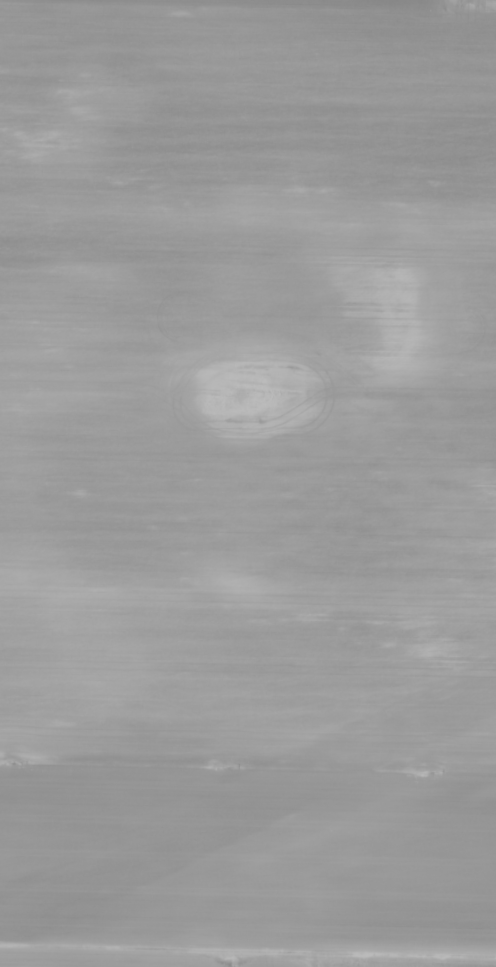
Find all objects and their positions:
road: (248, 953)

